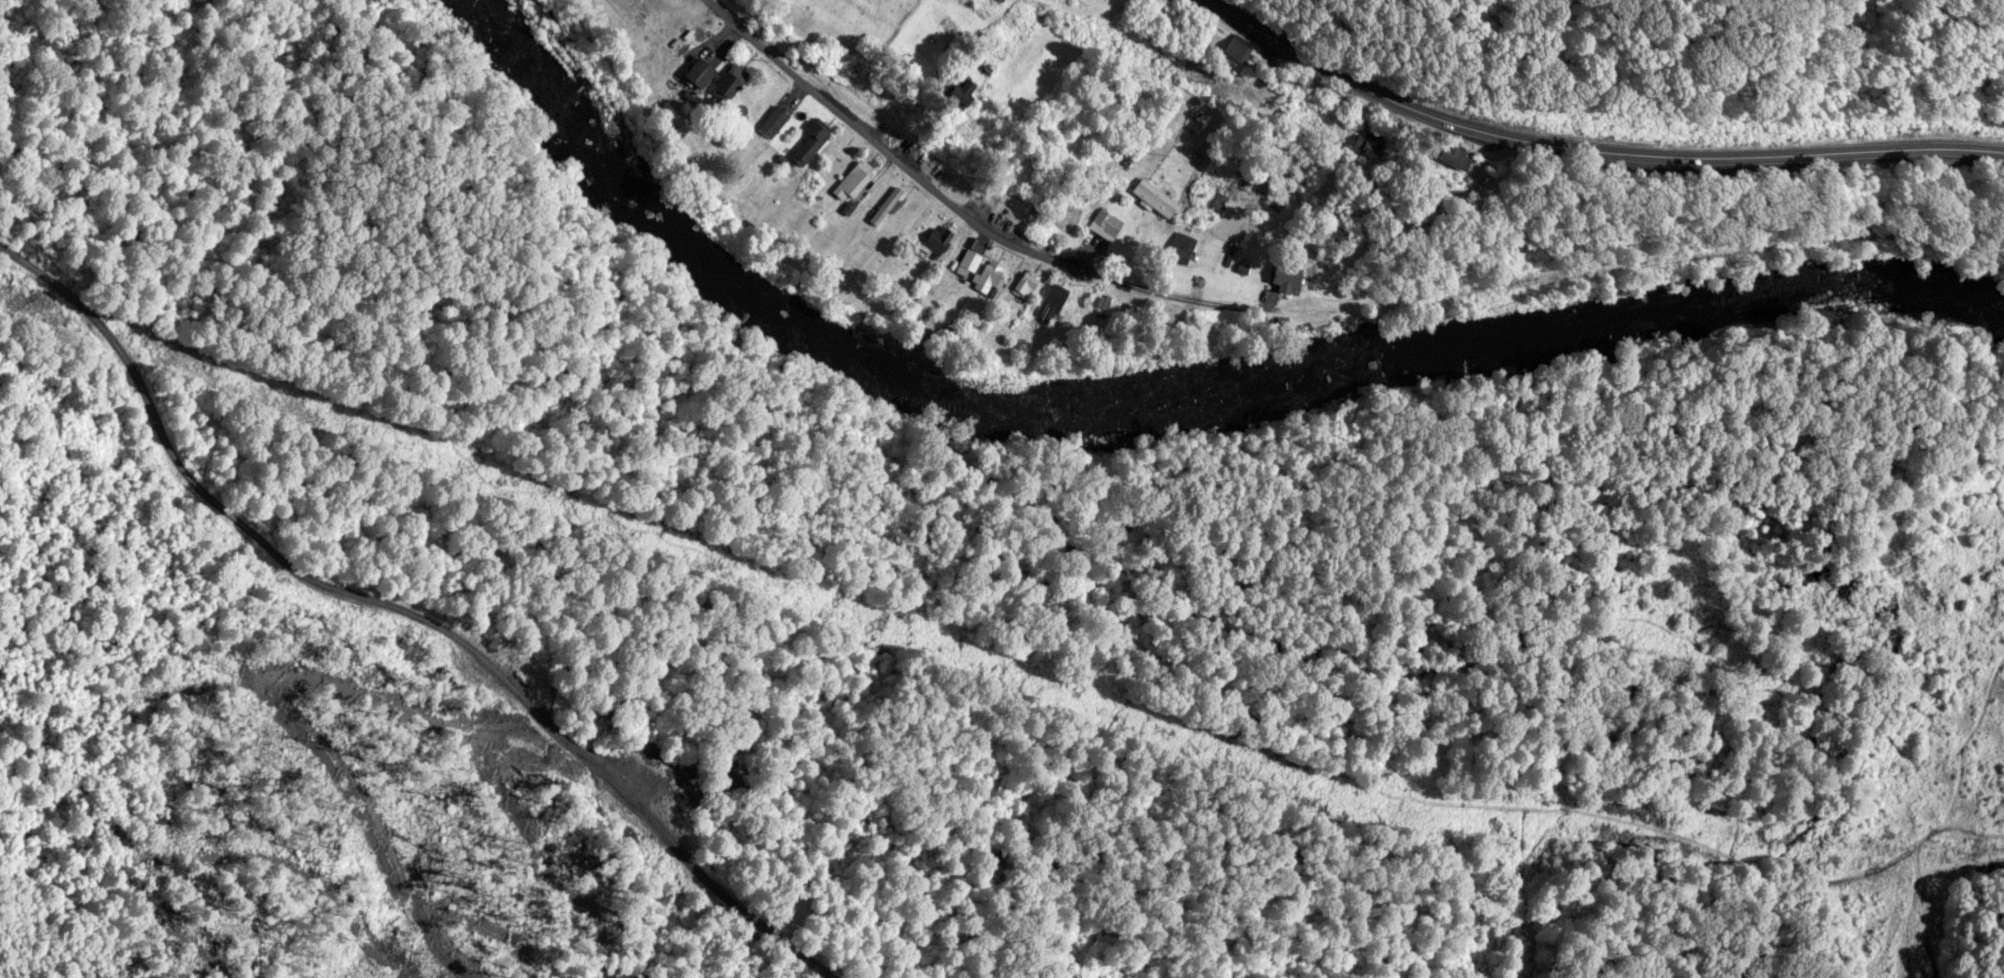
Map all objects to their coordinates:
building: (1242, 46)
building: (704, 70)
building: (733, 80)
building: (776, 119)
building: (814, 139)
road: (1594, 143)
building: (1371, 144)
building: (857, 177)
building: (1157, 196)
building: (888, 203)
road: (974, 217)
building: (1111, 219)
road: (1651, 230)
building: (1185, 242)
building: (973, 256)
building: (992, 273)
building: (1291, 275)
building: (1029, 281)
building: (1055, 300)
river: (1129, 431)

